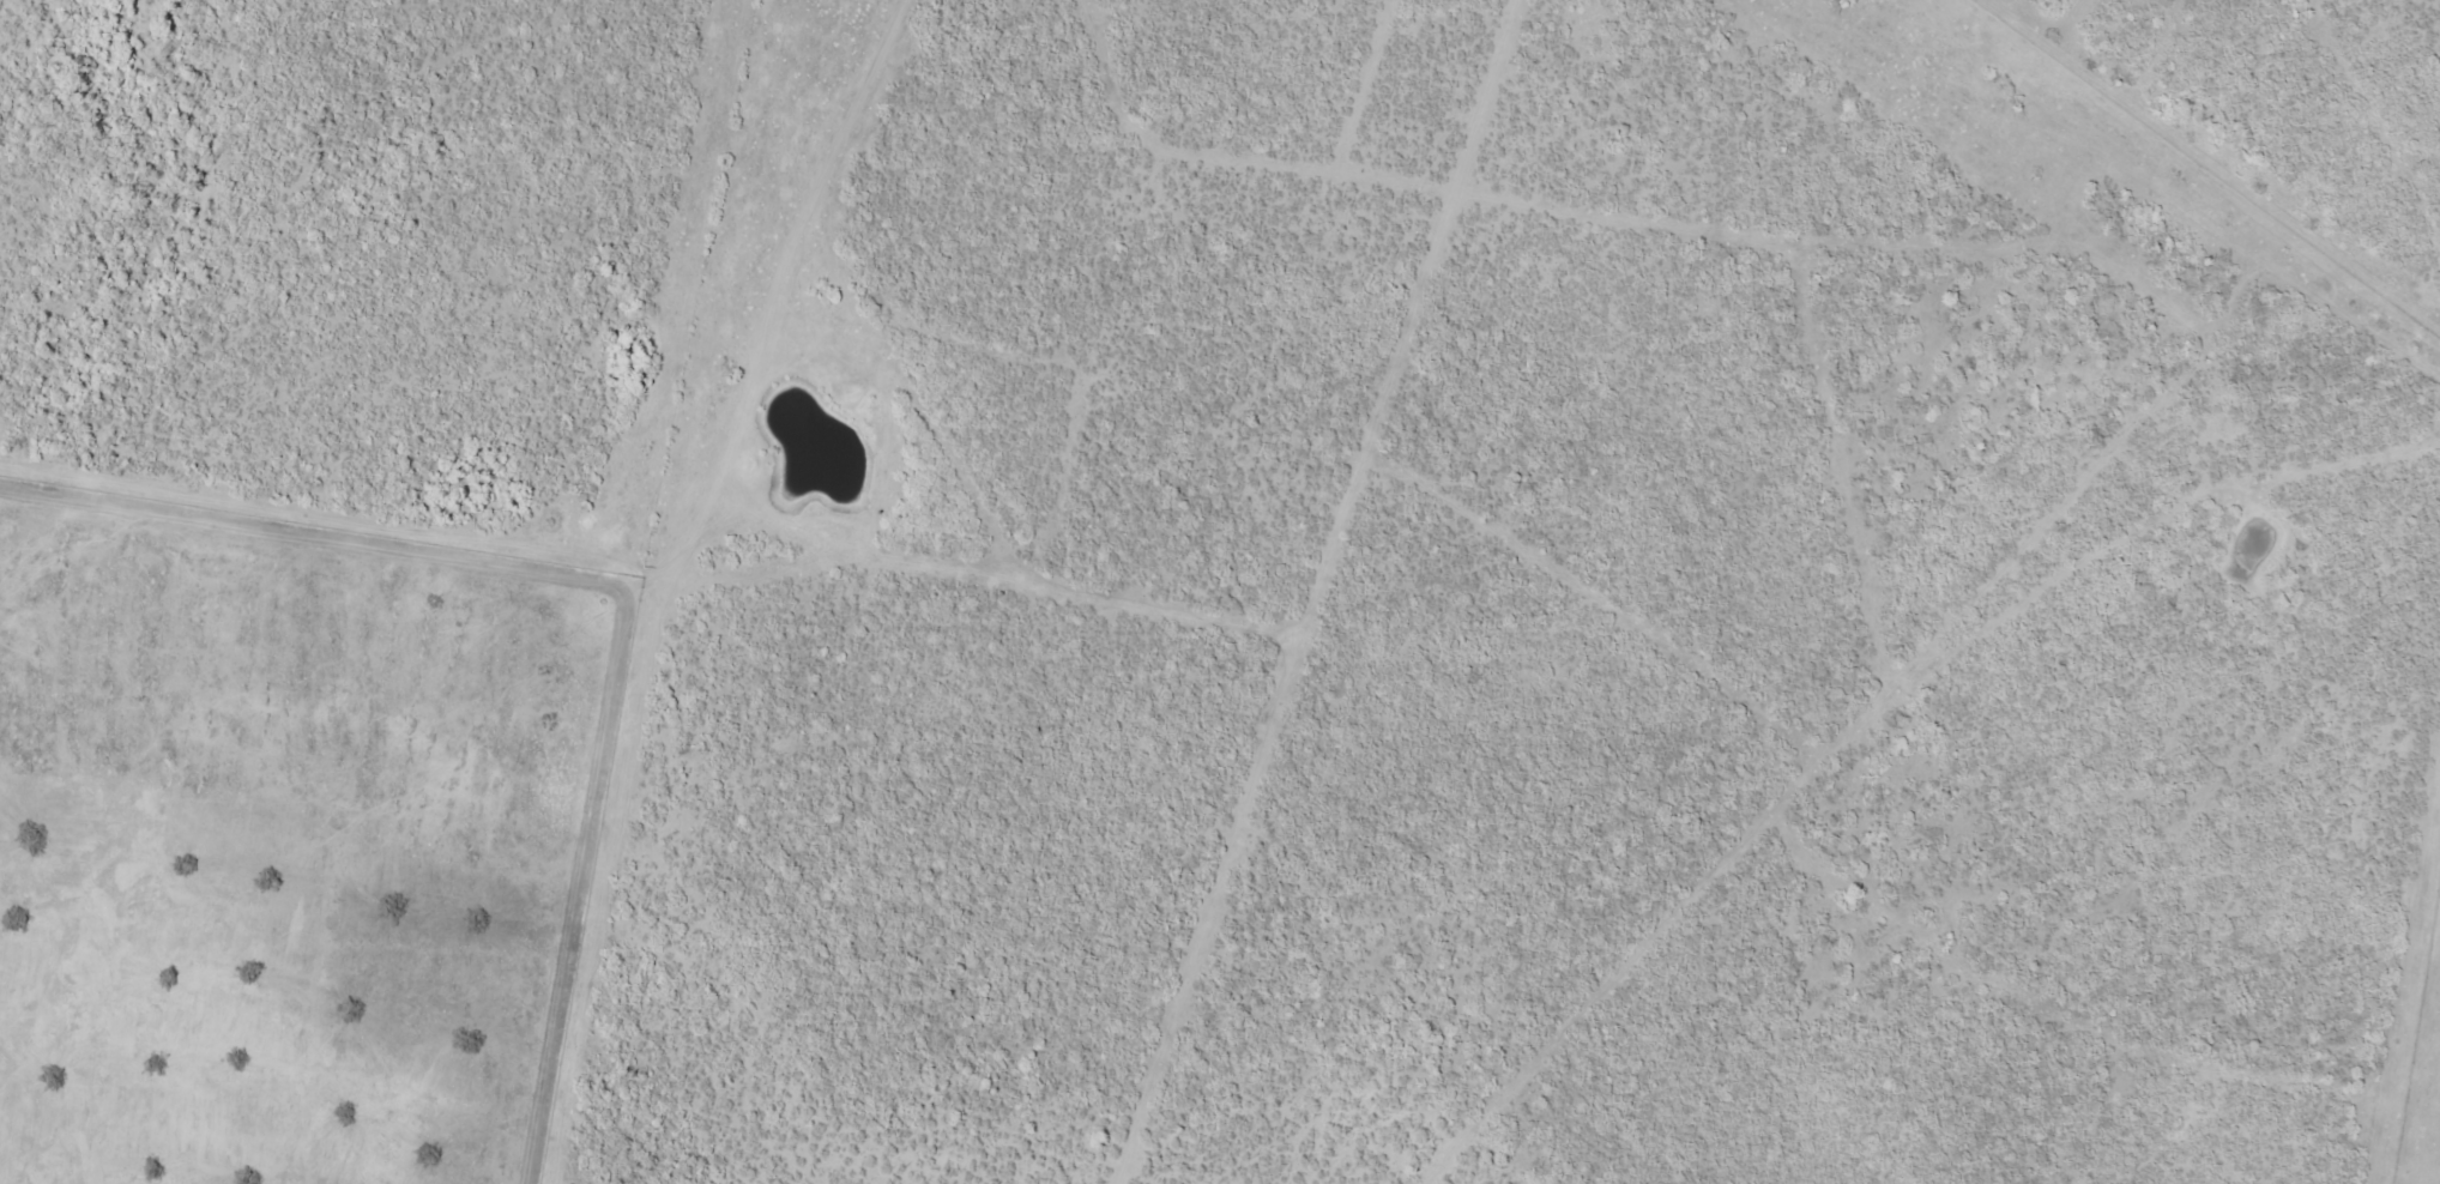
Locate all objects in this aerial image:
road: (55, 107)
road: (2184, 181)

